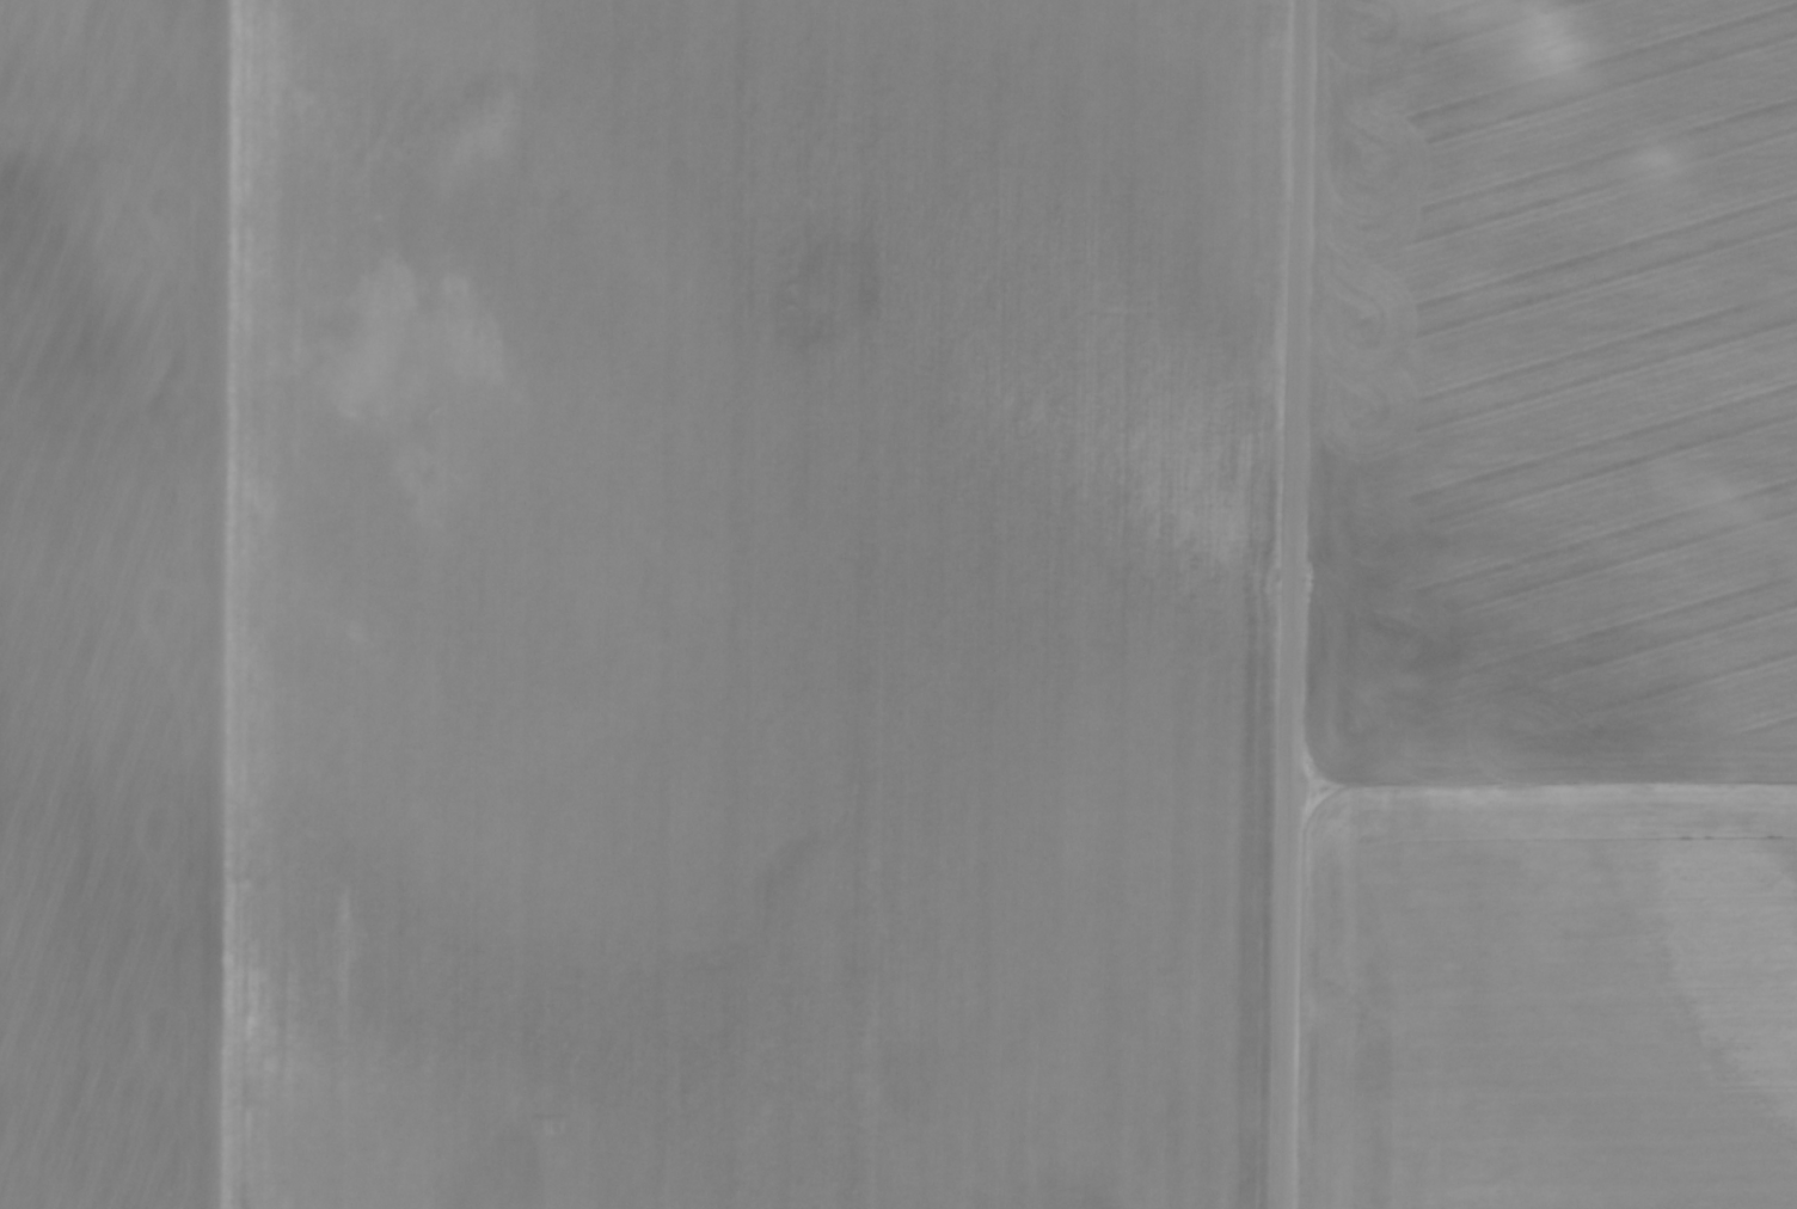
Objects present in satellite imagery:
crop: (632, 602)
road: (1286, 603)
crop: (1552, 607)

